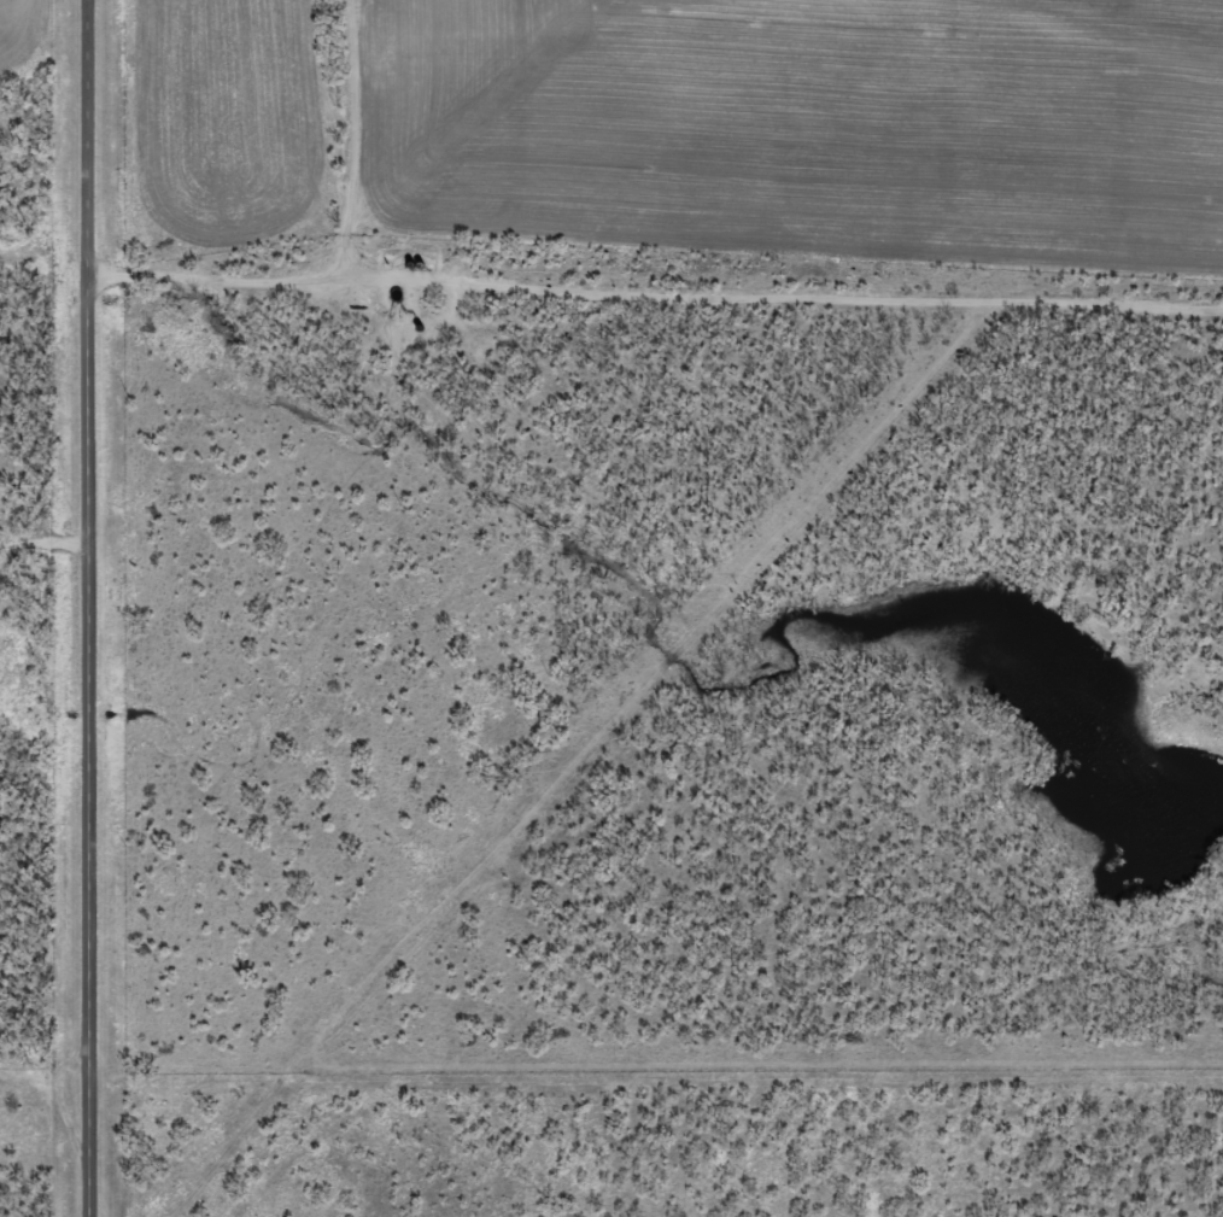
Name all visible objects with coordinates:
road: (362, 153)
road: (655, 306)
road: (37, 550)
road: (76, 608)

